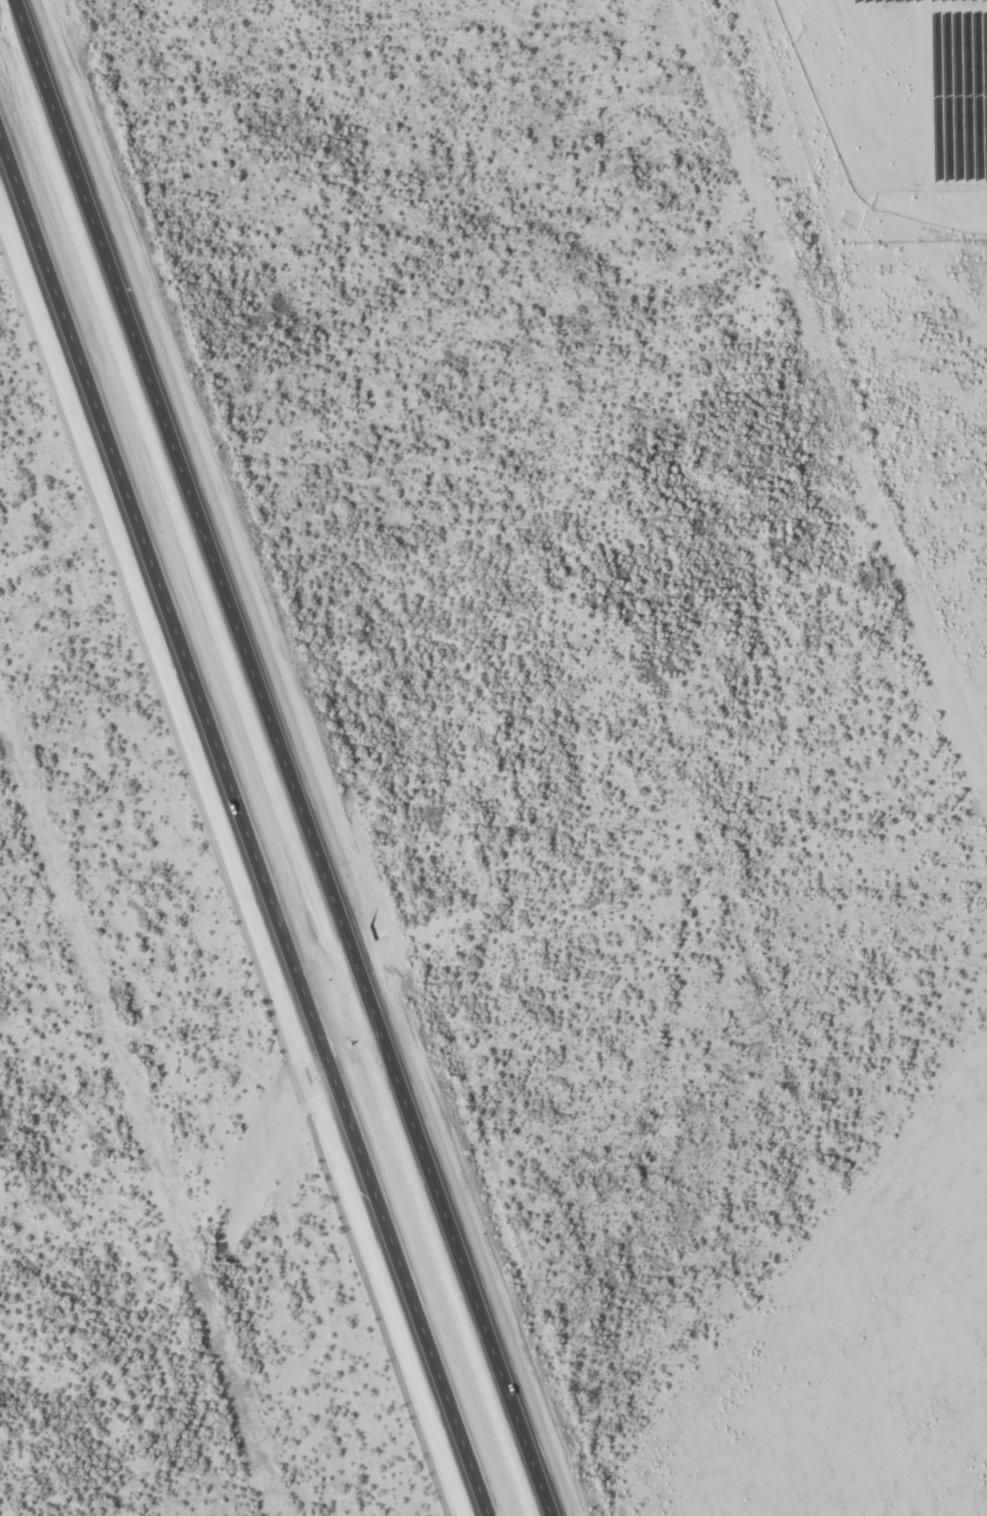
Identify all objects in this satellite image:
road: (285, 757)
road: (124, 793)

